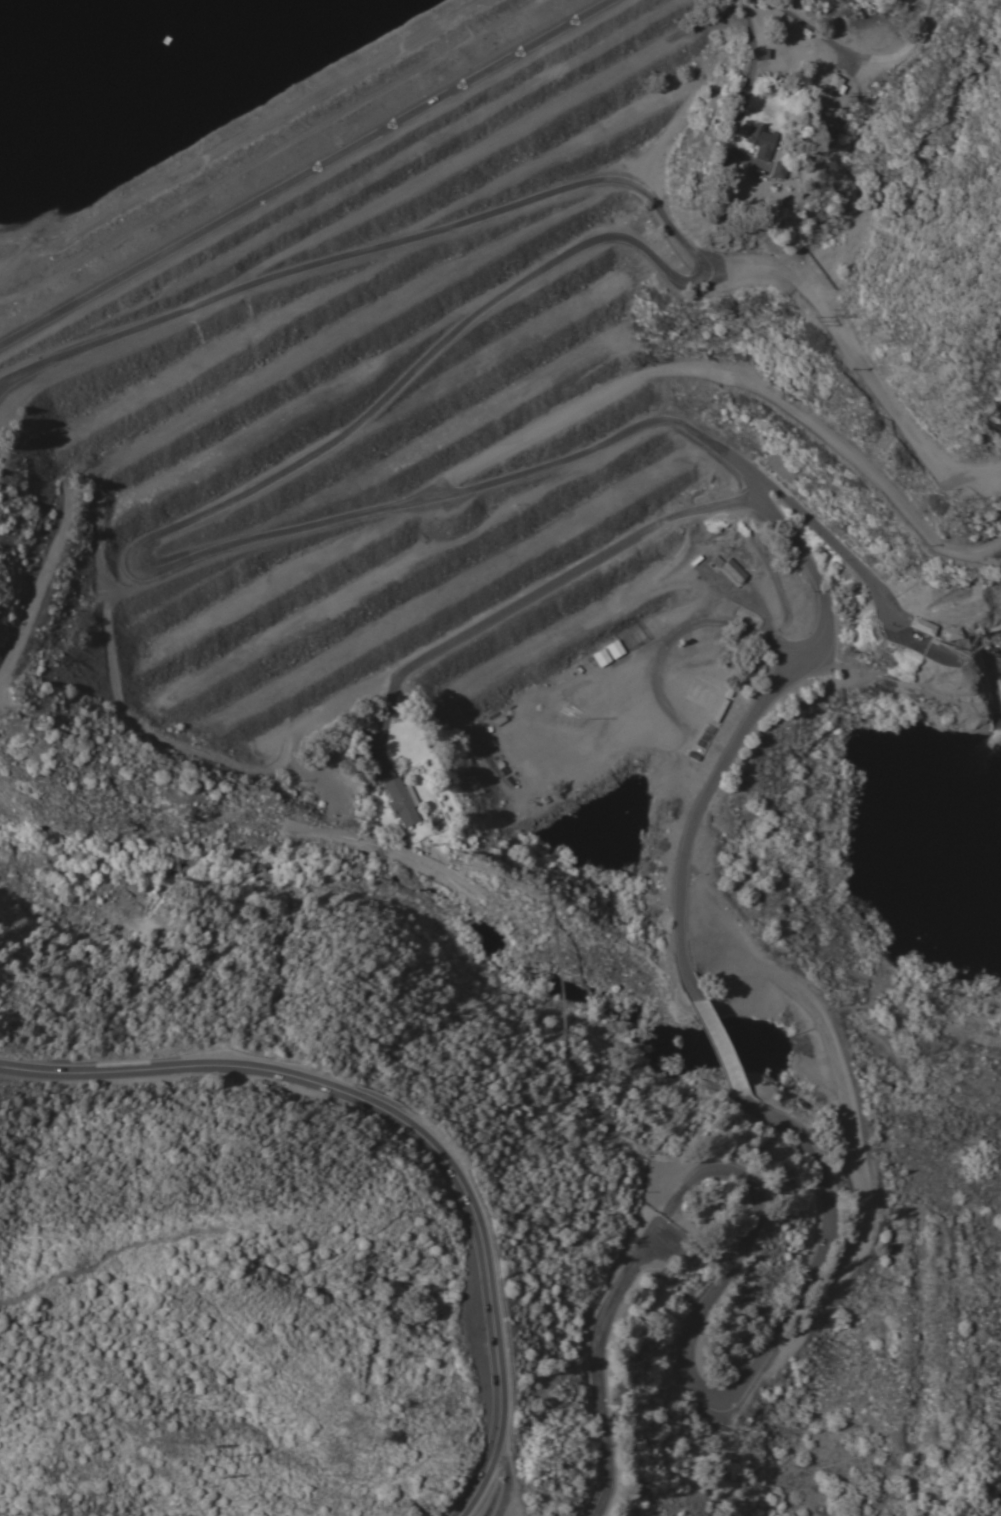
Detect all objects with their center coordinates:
road: (808, 26)
road: (752, 70)
building: (834, 81)
building: (761, 139)
building: (779, 169)
road: (311, 171)
road: (402, 387)
river: (564, 401)
dam: (444, 465)
building: (735, 570)
road: (572, 571)
road: (857, 574)
building: (919, 628)
building: (946, 636)
building: (721, 709)
river: (924, 797)
building: (402, 801)
road: (699, 801)
river: (503, 942)
road: (710, 1048)
road: (761, 1109)
road: (425, 1120)
road: (736, 1252)
road: (515, 1473)

